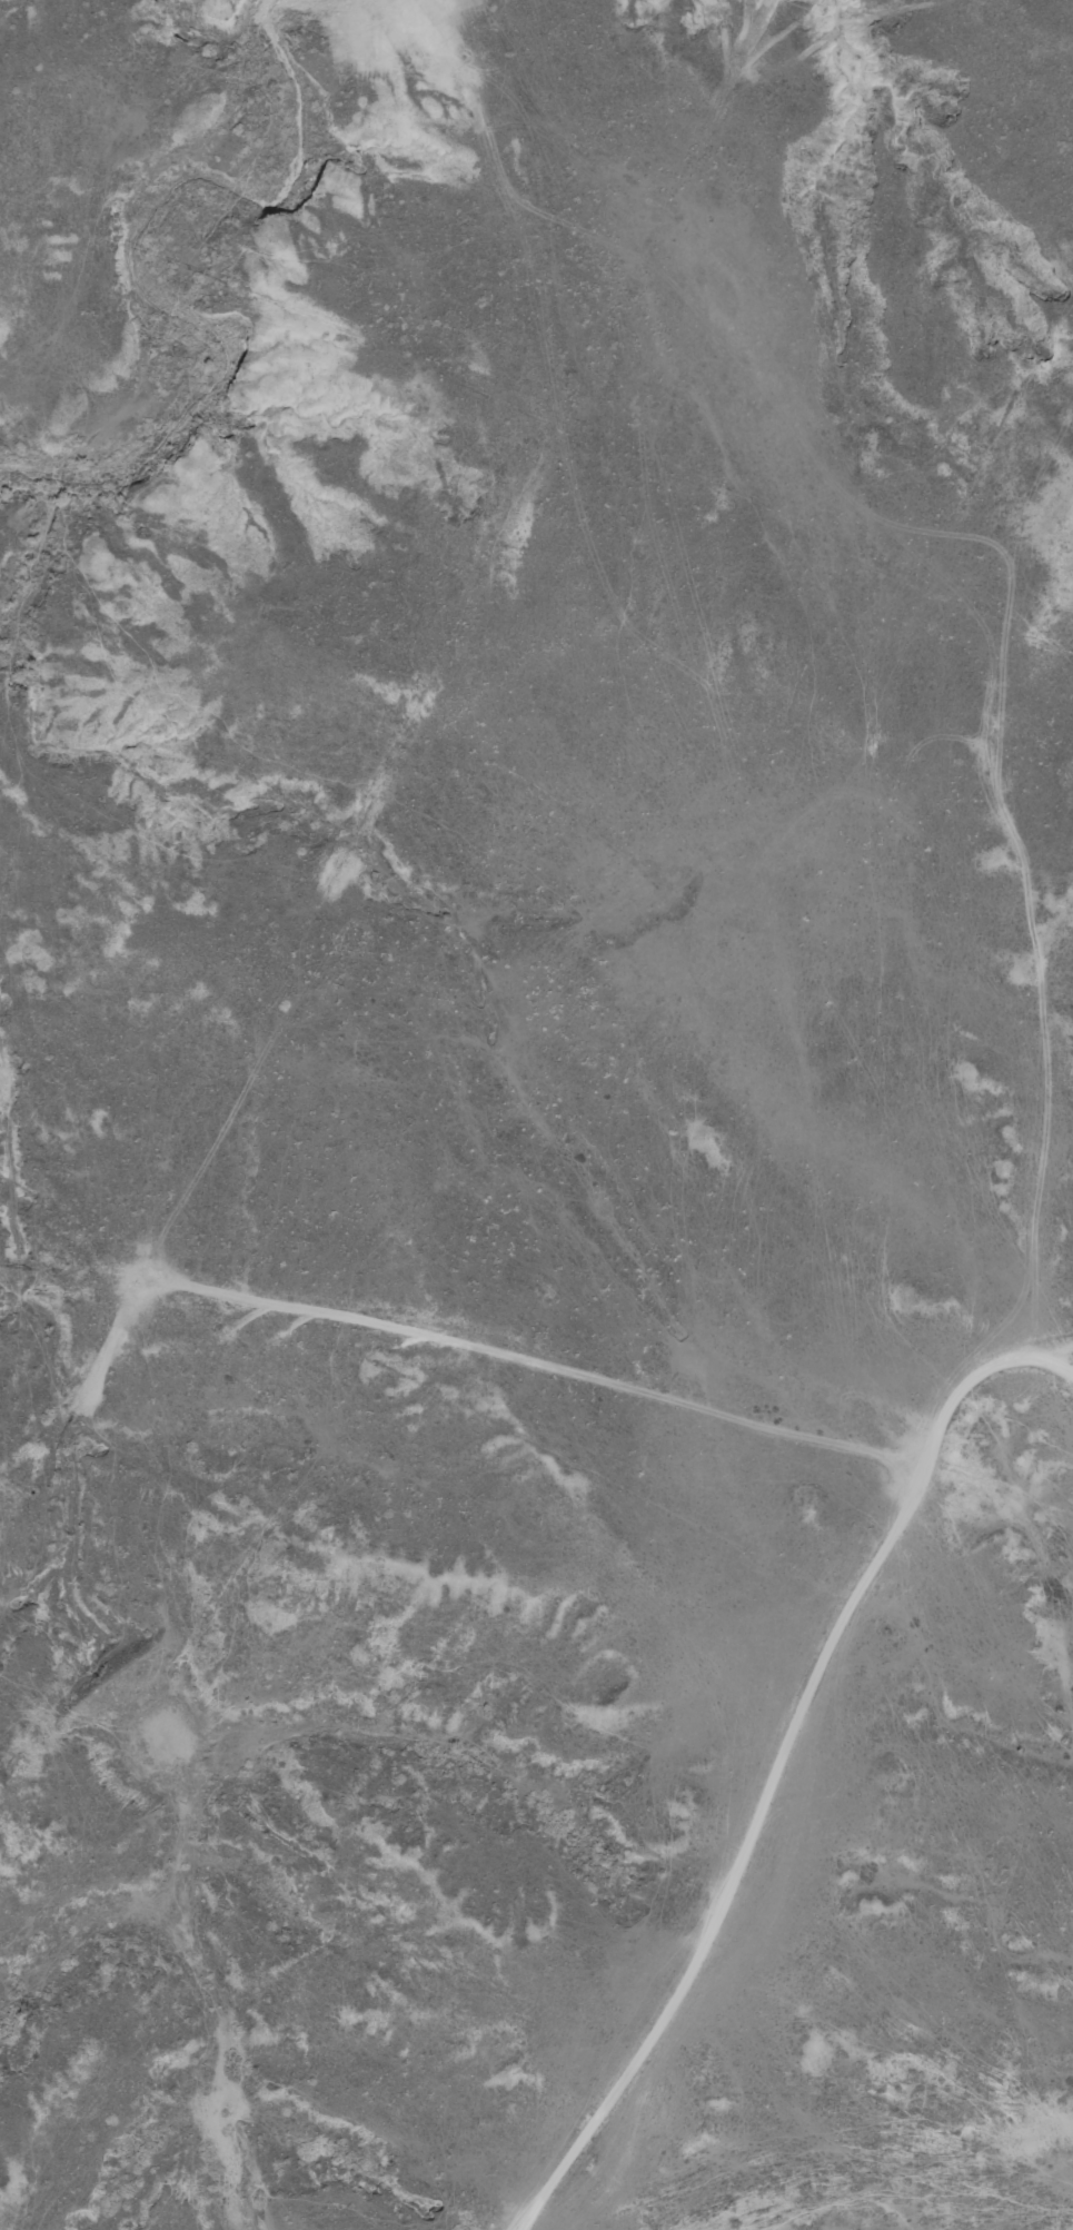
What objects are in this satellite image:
road: (822, 1763)

